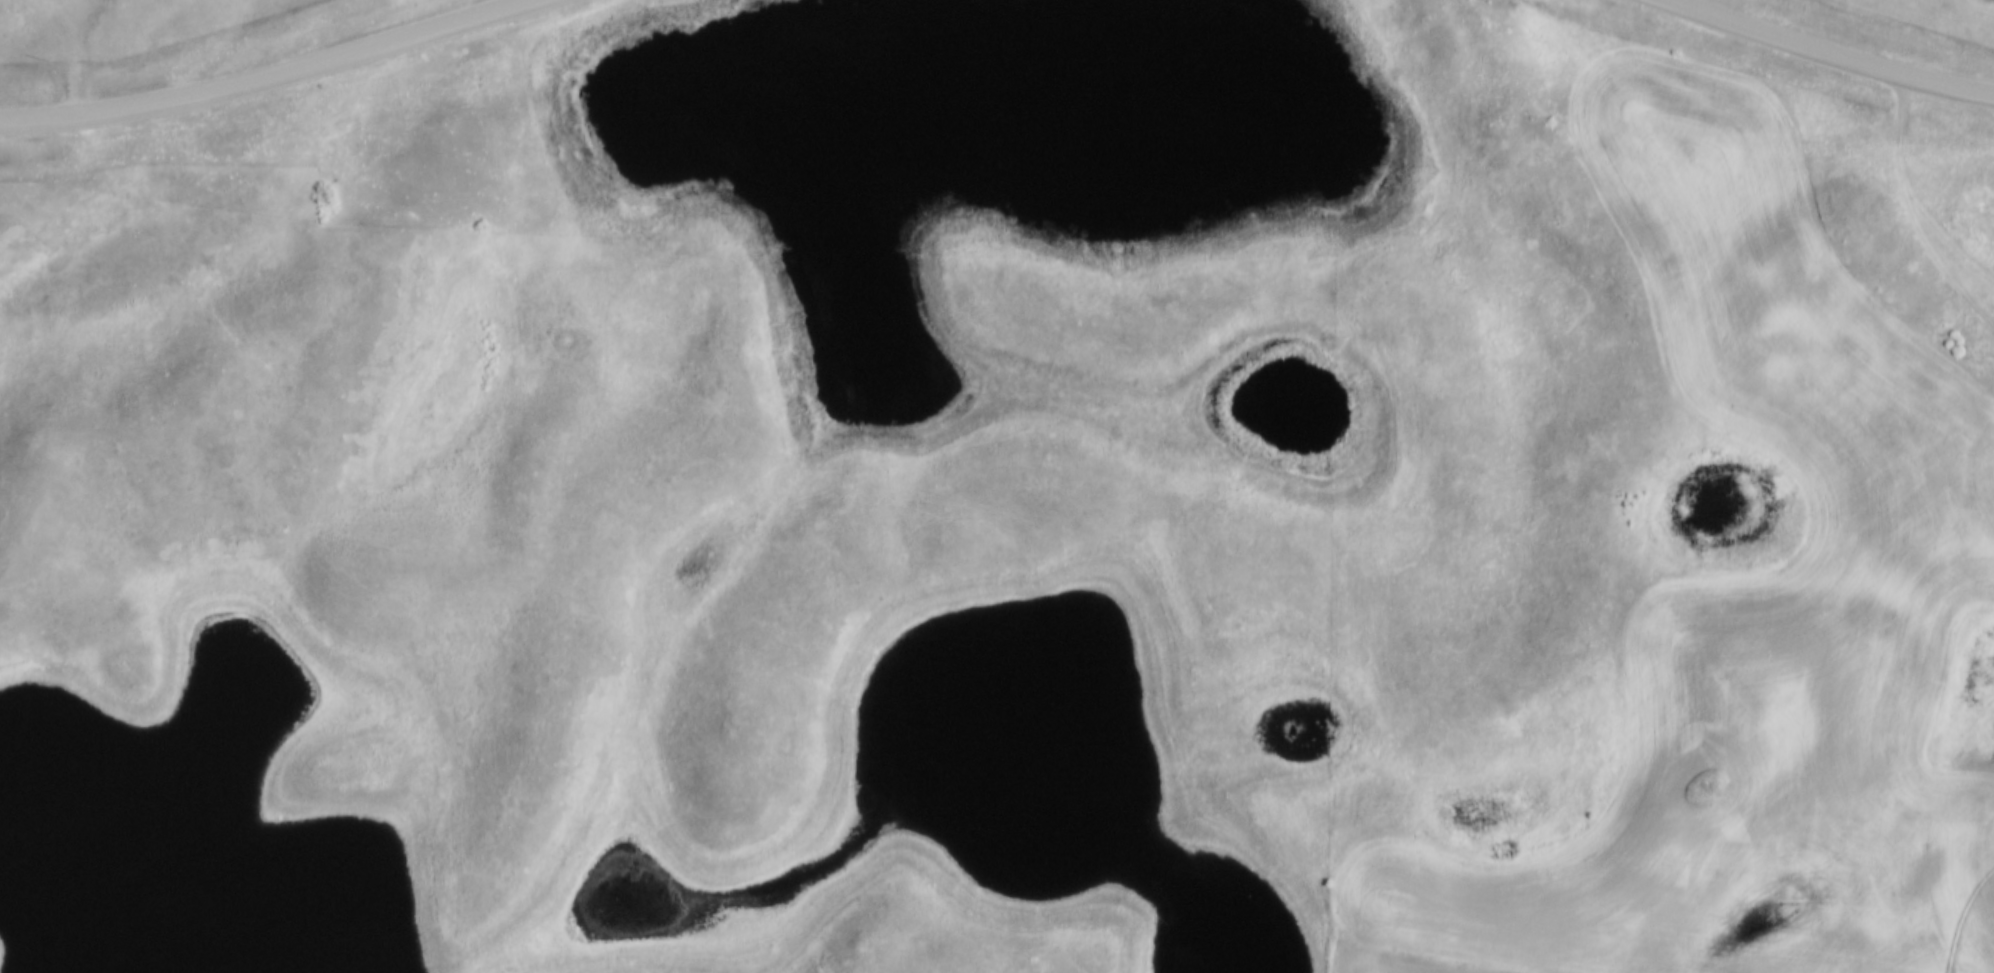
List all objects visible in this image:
road: (1831, 50)
road: (274, 68)
road: (1902, 165)

